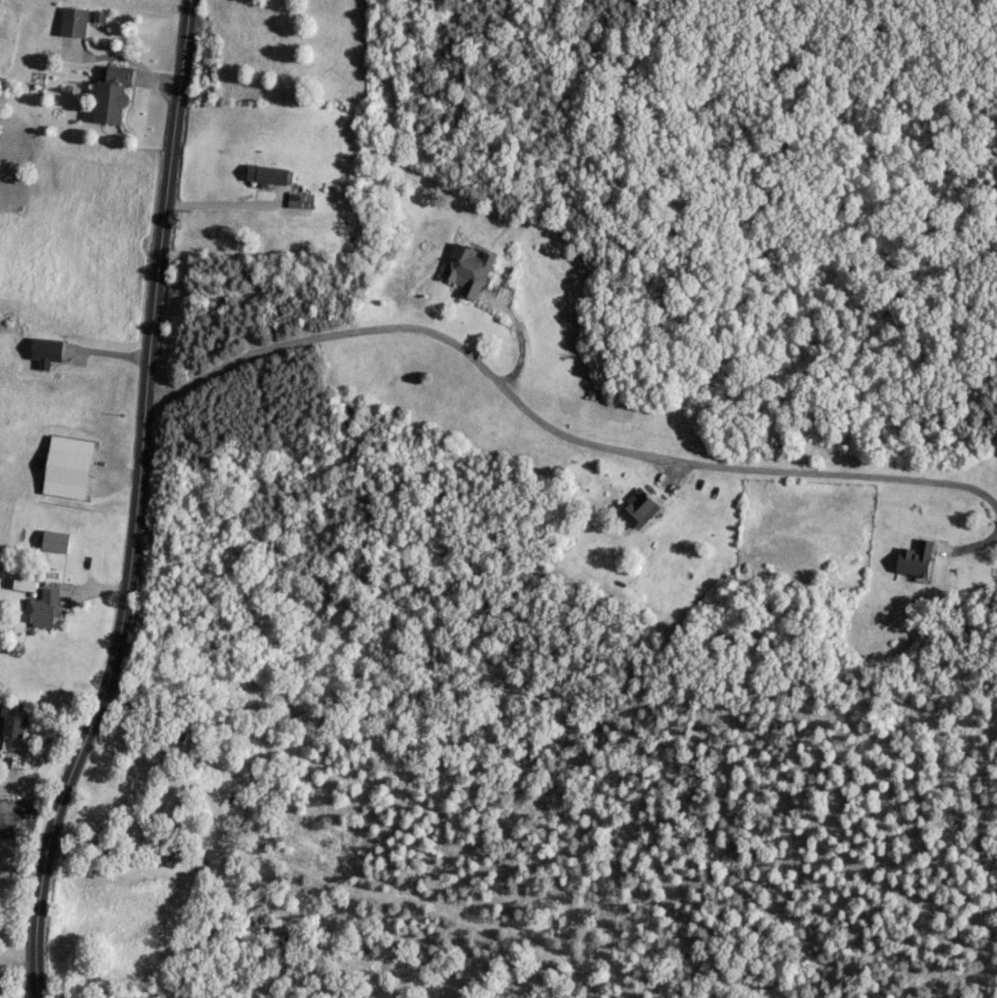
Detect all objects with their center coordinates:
building: (70, 20)
building: (109, 94)
building: (267, 173)
building: (298, 199)
building: (465, 268)
building: (43, 350)
road: (552, 431)
building: (64, 465)
road: (135, 505)
building: (636, 506)
building: (52, 539)
road: (972, 547)
building: (912, 556)
building: (21, 582)
building: (40, 608)
building: (10, 723)
building: (175, 725)
road: (161, 801)
building: (161, 852)

